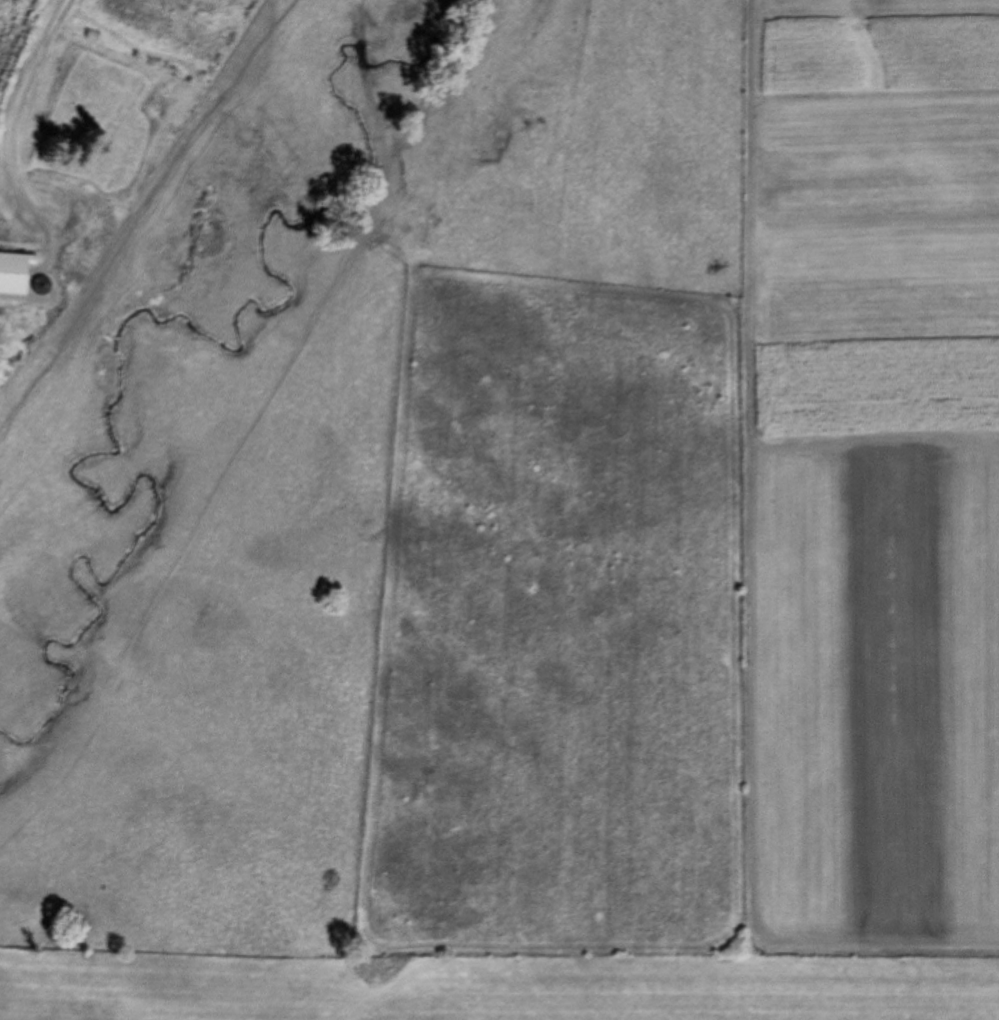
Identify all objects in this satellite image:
road: (12, 133)
building: (14, 272)

